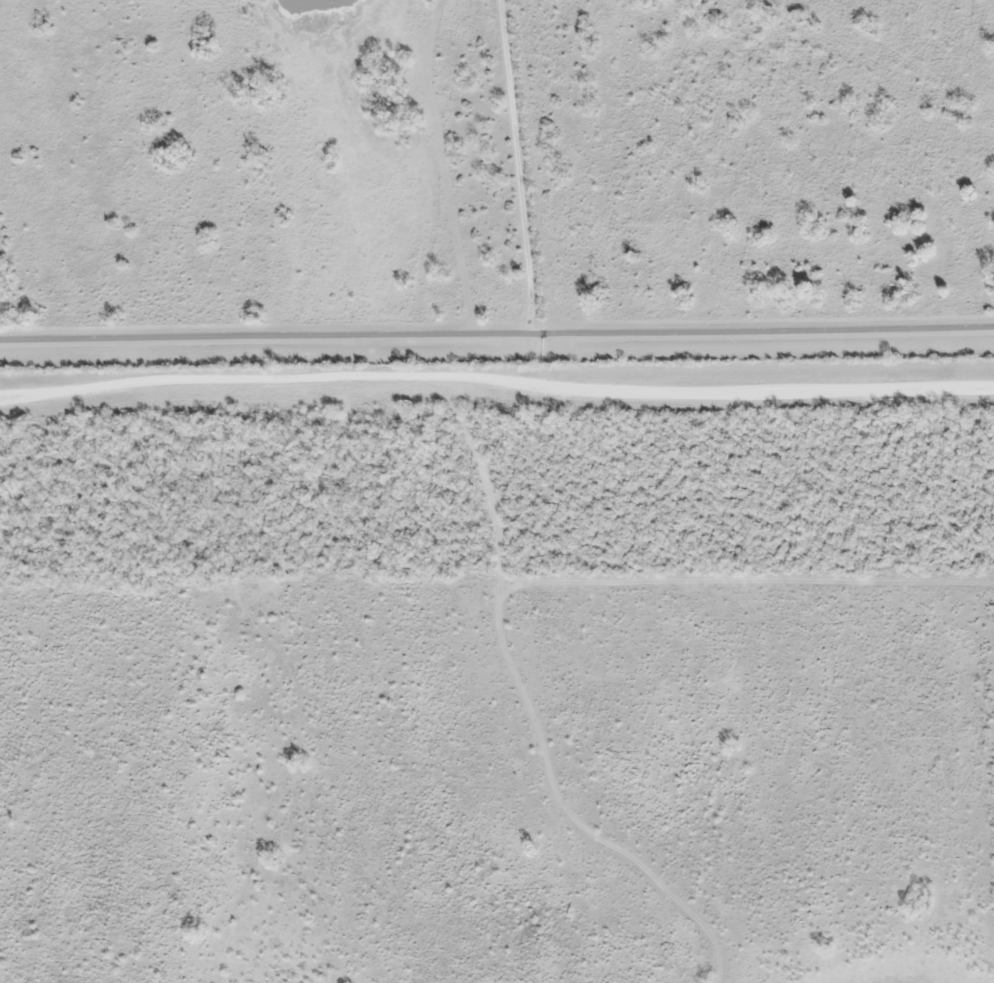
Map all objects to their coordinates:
road: (572, 169)
road: (497, 345)
road: (496, 381)

